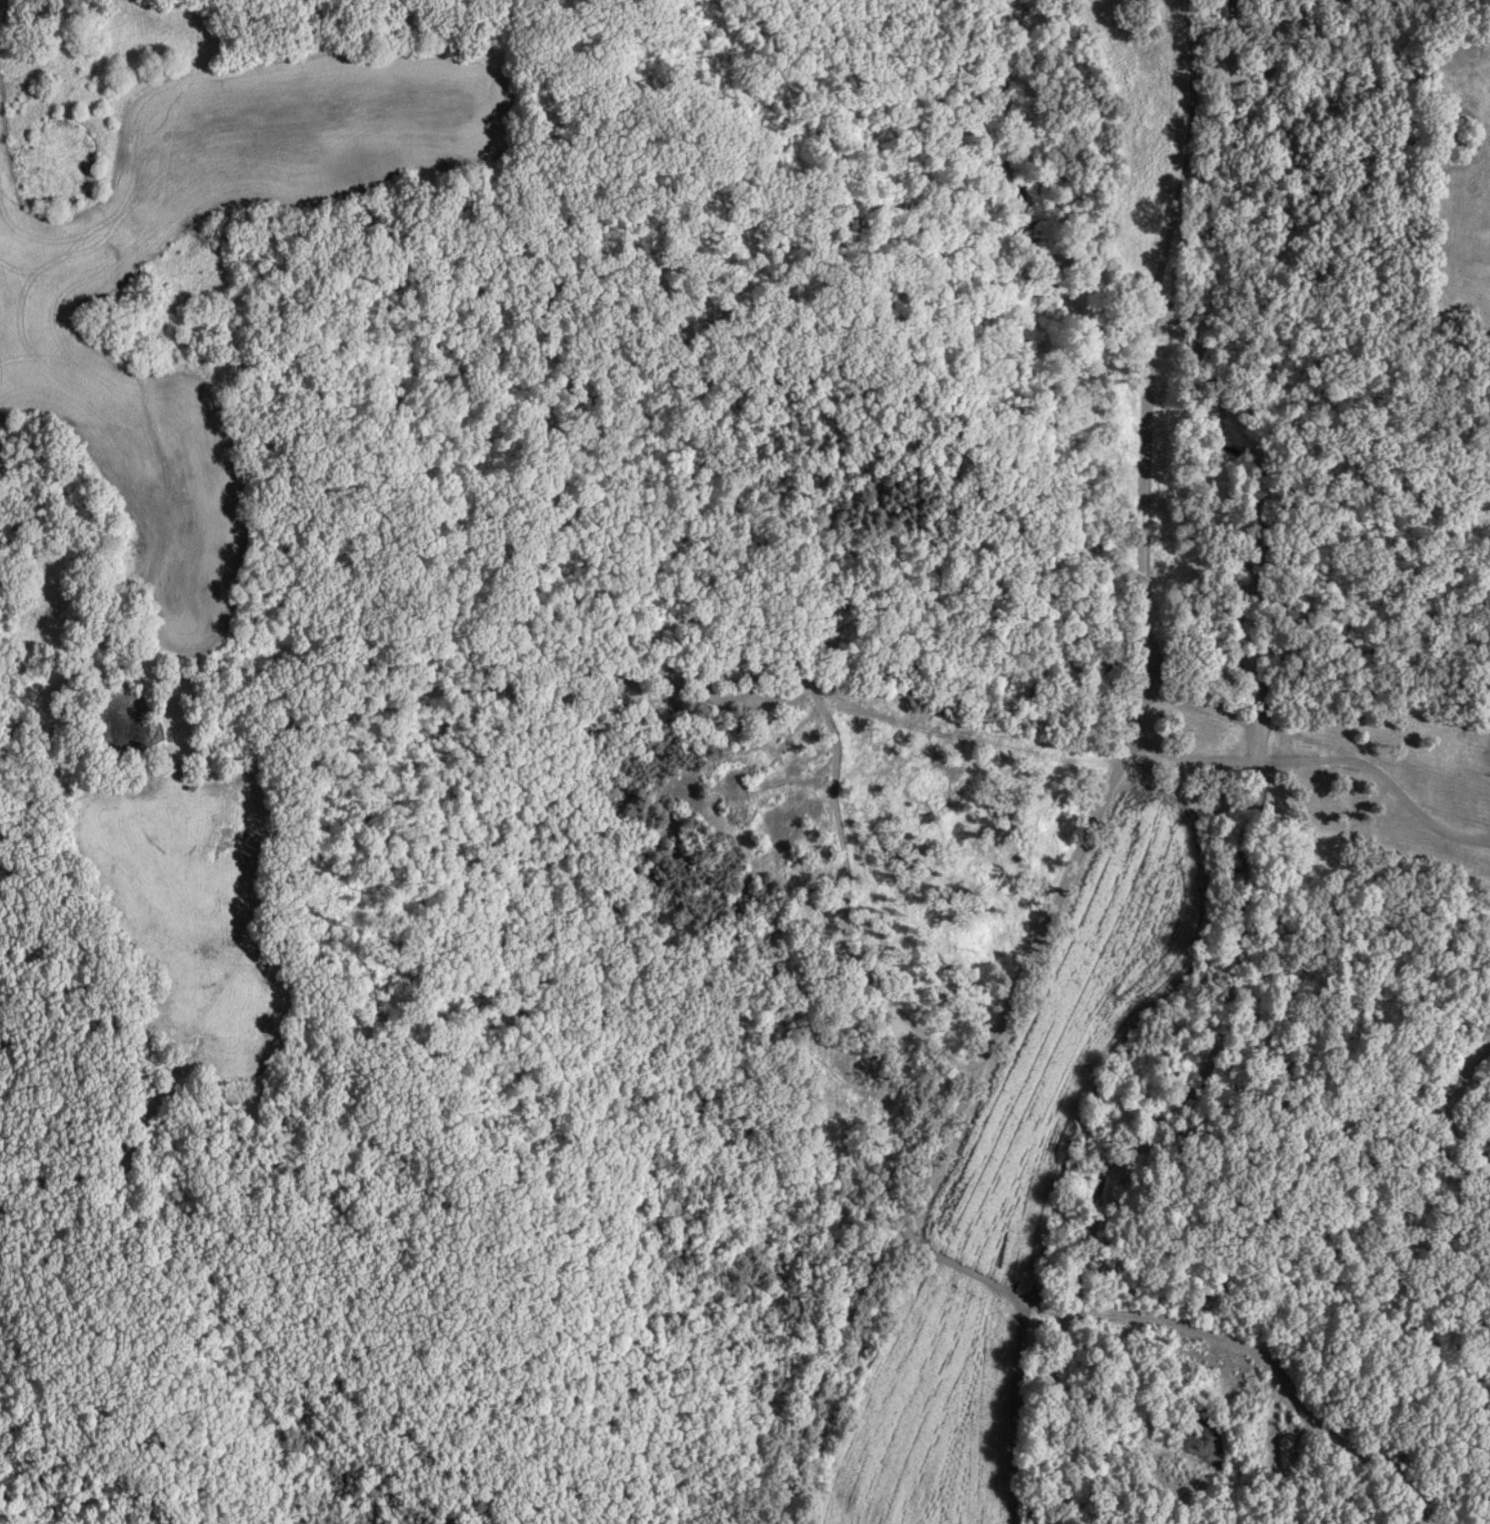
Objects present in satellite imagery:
road: (1144, 478)
road: (1326, 736)
building: (745, 780)
road: (895, 1225)

